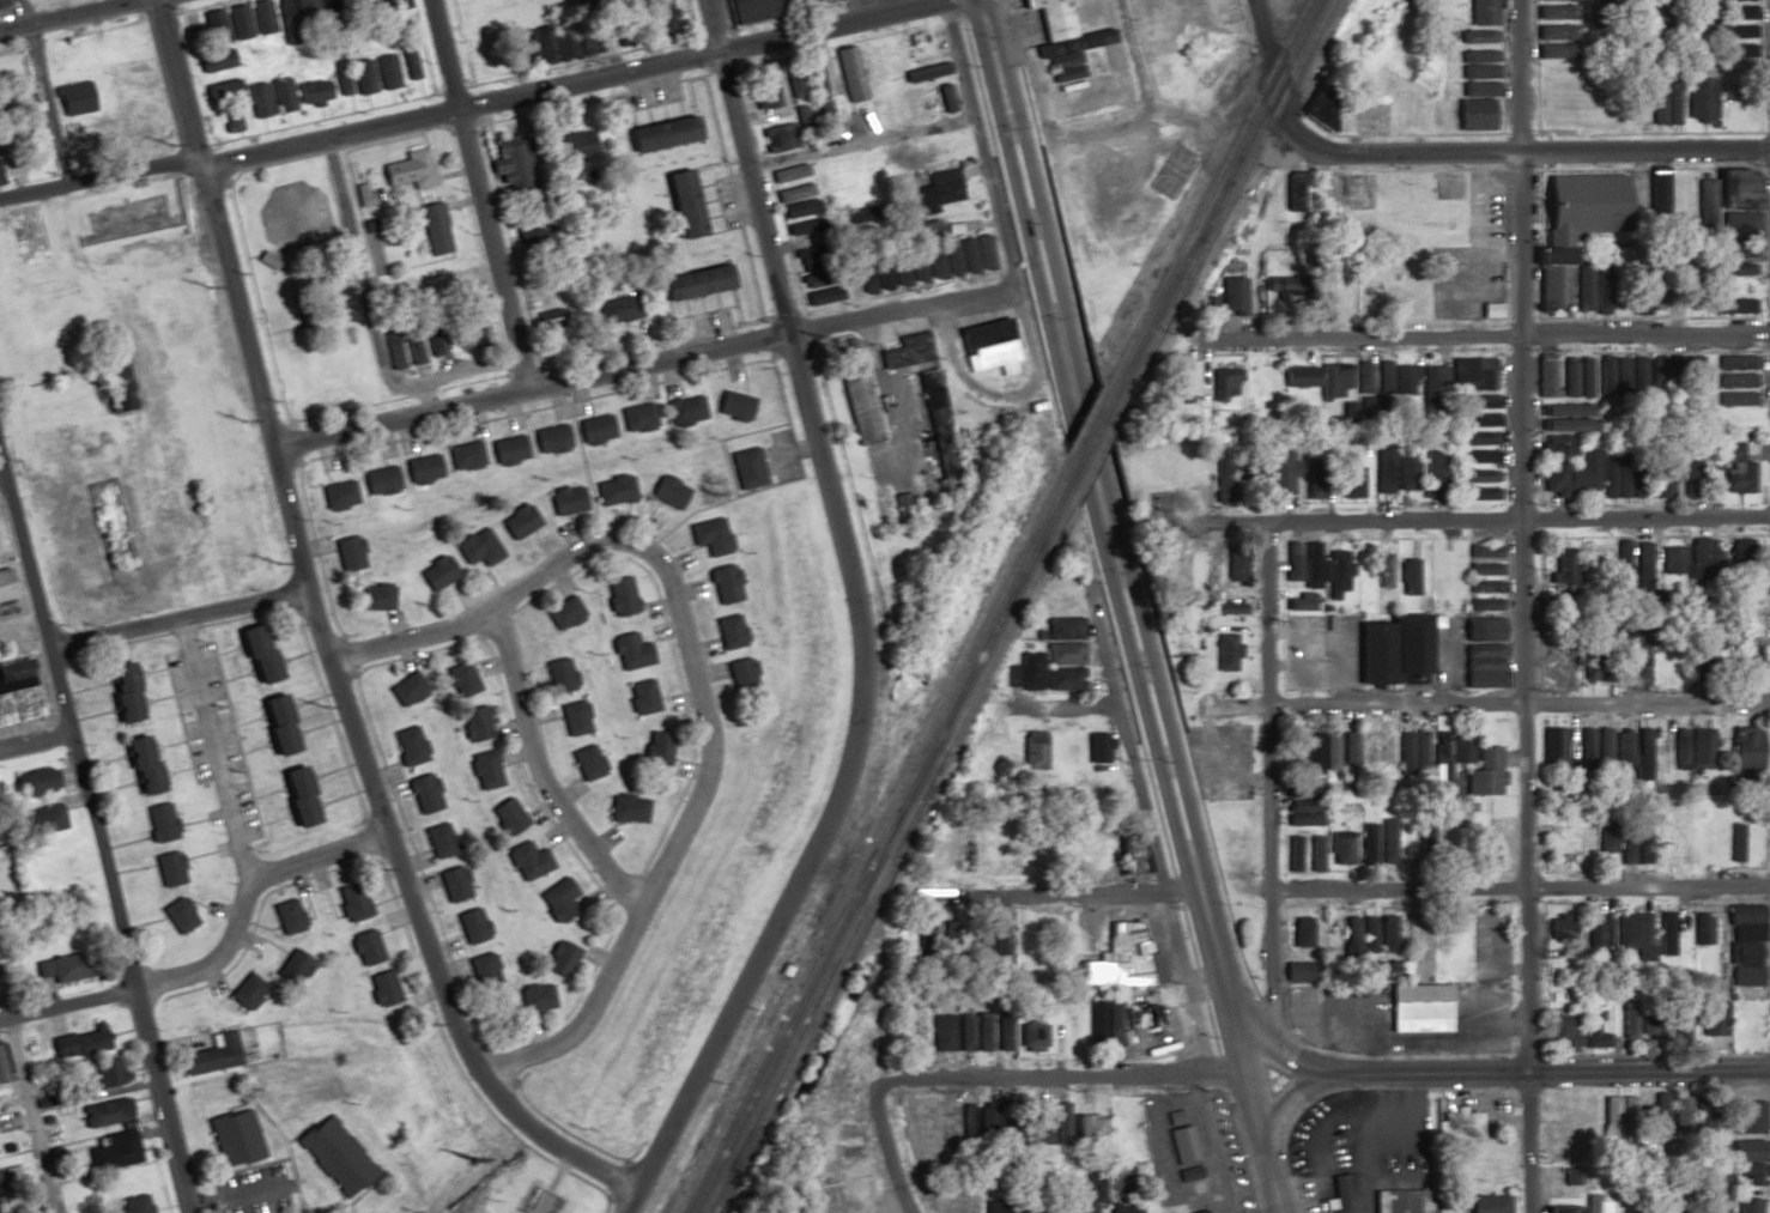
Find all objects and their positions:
building: (352, 0)
building: (7, 4)
building: (390, 5)
building: (1710, 8)
building: (1738, 10)
building: (310, 11)
building: (747, 11)
road: (69, 14)
building: (659, 14)
building: (261, 17)
building: (1050, 17)
building: (237, 22)
building: (213, 28)
building: (1554, 28)
road: (1260, 43)
building: (525, 46)
building: (85, 51)
railway: (1303, 51)
road: (1128, 57)
building: (213, 61)
building: (407, 62)
building: (54, 63)
building: (1478, 66)
building: (384, 72)
building: (849, 73)
building: (812, 74)
building: (360, 77)
building: (792, 81)
road: (563, 85)
building: (219, 91)
building: (763, 91)
building: (311, 92)
road: (42, 93)
building: (280, 95)
building: (66, 97)
building: (931, 99)
building: (1699, 99)
building: (257, 101)
building: (1663, 103)
building: (802, 111)
building: (825, 115)
building: (1369, 116)
building: (659, 134)
building: (777, 137)
road: (866, 140)
building: (576, 146)
road: (1505, 150)
building: (511, 163)
building: (419, 169)
park: (1170, 170)
building: (788, 172)
road: (97, 180)
building: (938, 189)
building: (1657, 190)
building: (794, 193)
railway: (1206, 193)
building: (1734, 193)
road: (481, 194)
building: (362, 195)
railway: (1213, 201)
building: (679, 204)
building: (1704, 208)
building: (795, 210)
railway: (1218, 216)
building: (1572, 225)
building: (1738, 226)
building: (434, 230)
building: (34, 235)
building: (1734, 250)
road: (352, 251)
railway: (1193, 254)
building: (956, 257)
building: (265, 260)
building: (1732, 268)
building: (881, 278)
building: (691, 284)
building: (1593, 284)
building: (1233, 296)
building: (1734, 305)
building: (618, 310)
road: (1493, 335)
building: (987, 345)
building: (411, 348)
building: (392, 352)
building: (905, 352)
road: (663, 358)
railway: (1140, 369)
building: (1735, 371)
building: (1691, 374)
building: (1472, 375)
building: (1299, 376)
building: (1611, 376)
building: (1362, 377)
building: (1639, 377)
building: (1189, 378)
building: (1545, 378)
building: (1394, 380)
building: (1576, 380)
building: (1334, 381)
building: (1226, 383)
building: (1433, 383)
building: (1735, 399)
building: (732, 406)
building: (859, 408)
building: (934, 408)
building: (684, 411)
building: (637, 418)
building: (1565, 418)
railway: (1085, 427)
building: (594, 429)
building: (548, 439)
railway: (1090, 443)
building: (1478, 449)
building: (507, 450)
building: (463, 456)
railway: (1096, 456)
building: (1394, 468)
building: (422, 469)
building: (746, 469)
building: (1734, 469)
building: (1433, 472)
building: (1220, 475)
building: (1691, 475)
road: (1, 477)
building: (1569, 478)
building: (1660, 478)
building: (1287, 479)
building: (1617, 479)
building: (378, 481)
building: (1348, 483)
building: (1150, 486)
building: (613, 490)
building: (667, 492)
building: (1313, 492)
building: (338, 496)
building: (564, 501)
road: (1471, 521)
building: (515, 524)
building: (709, 536)
road: (292, 548)
building: (475, 548)
building: (1484, 552)
building: (347, 554)
building: (1699, 560)
building: (1617, 562)
building: (1301, 564)
building: (1643, 564)
building: (1235, 565)
building: (1671, 565)
building: (1563, 568)
building: (1484, 570)
building: (1214, 571)
building: (1335, 571)
building: (1382, 571)
building: (436, 574)
building: (1407, 575)
building: (1455, 576)
building: (722, 584)
building: (10, 586)
building: (1484, 587)
building: (375, 598)
building: (618, 598)
building: (1057, 604)
building: (1301, 604)
building: (1484, 604)
road: (1115, 605)
road: (1138, 605)
road: (1521, 606)
building: (1225, 608)
building: (562, 614)
road: (174, 619)
road: (854, 621)
building: (1740, 625)
building: (1061, 629)
building: (1481, 630)
building: (729, 632)
building: (1410, 649)
building: (629, 653)
building: (1225, 653)
building: (255, 654)
building: (1061, 654)
building: (1481, 659)
building: (1741, 661)
building: (1638, 663)
building: (1031, 671)
building: (558, 675)
road: (690, 675)
building: (740, 679)
building: (461, 680)
building: (1061, 680)
building: (406, 690)
building: (121, 692)
building: (641, 698)
road: (1432, 703)
railway: (940, 706)
building: (43, 708)
building: (574, 720)
building: (275, 724)
building: (473, 724)
road: (32, 740)
building: (408, 746)
building: (1654, 746)
road: (217, 747)
building: (1552, 747)
building: (1582, 747)
building: (1096, 748)
building: (1601, 748)
building: (655, 750)
building: (1035, 750)
building: (1382, 750)
building: (1623, 750)
building: (1741, 750)
building: (1348, 751)
building: (1411, 753)
building: (1678, 753)
building: (1314, 754)
building: (1365, 754)
building: (1445, 754)
building: (1698, 754)
building: (1066, 757)
building: (587, 763)
road: (1260, 763)
building: (139, 765)
building: (484, 771)
road: (538, 771)
building: (1484, 774)
building: (32, 783)
building: (423, 794)
building: (297, 796)
building: (1299, 806)
building: (626, 809)
building: (505, 817)
building: (41, 819)
building: (160, 823)
road: (92, 839)
building: (1604, 839)
building: (438, 841)
building: (1734, 843)
building: (1495, 844)
building: (1623, 847)
railway: (880, 848)
building: (1340, 848)
building: (1292, 854)
building: (1314, 854)
building: (1127, 855)
railway: (887, 856)
building: (526, 861)
building: (169, 868)
railway: (857, 878)
building: (453, 884)
road: (1384, 888)
building: (556, 899)
road: (243, 902)
building: (351, 902)
building: (178, 915)
building: (286, 917)
building: (469, 926)
building: (1557, 929)
building: (1699, 929)
building: (1596, 930)
building: (1632, 932)
building: (1348, 934)
building: (1365, 934)
building: (1386, 934)
building: (1298, 935)
building: (1018, 938)
building: (1742, 945)
building: (364, 947)
building: (558, 959)
building: (1126, 965)
building: (290, 968)
building: (72, 969)
building: (1295, 970)
building: (1380, 970)
building: (483, 971)
building: (381, 988)
railway: (829, 988)
building: (244, 991)
building: (533, 997)
road: (63, 1005)
building: (1417, 1008)
building: (1709, 1018)
building: (1109, 1024)
building: (1590, 1024)
building: (1638, 1025)
building: (971, 1031)
building: (1001, 1031)
building: (1560, 1031)
building: (941, 1032)
building: (1031, 1035)
building: (83, 1042)
building: (211, 1056)
building: (1, 1062)
road: (1485, 1072)
road: (1068, 1075)
building: (101, 1078)
railway: (746, 1078)
road: (28, 1103)
building: (1679, 1111)
building: (104, 1112)
building: (1614, 1112)
building: (1701, 1114)
building: (1649, 1116)
road: (1283, 1117)
building: (1562, 1117)
building: (1586, 1117)
building: (1038, 1122)
building: (1057, 1122)
building: (1459, 1124)
building: (1081, 1126)
building: (1744, 1129)
building: (234, 1138)
building: (1180, 1145)
road: (552, 1147)
road: (885, 1148)
building: (111, 1152)
building: (334, 1156)
building: (1744, 1173)
building: (1339, 1191)
building: (1078, 1200)
building: (1398, 1200)
building: (1704, 1202)
building: (1486, 1203)
building: (133, 1205)
building: (1744, 1205)
building: (995, 1206)
building: (1037, 1207)
building: (1595, 1207)
building: (1121, 1208)
building: (1556, 1208)
building: (1196, 1211)
building: (298, 1212)

